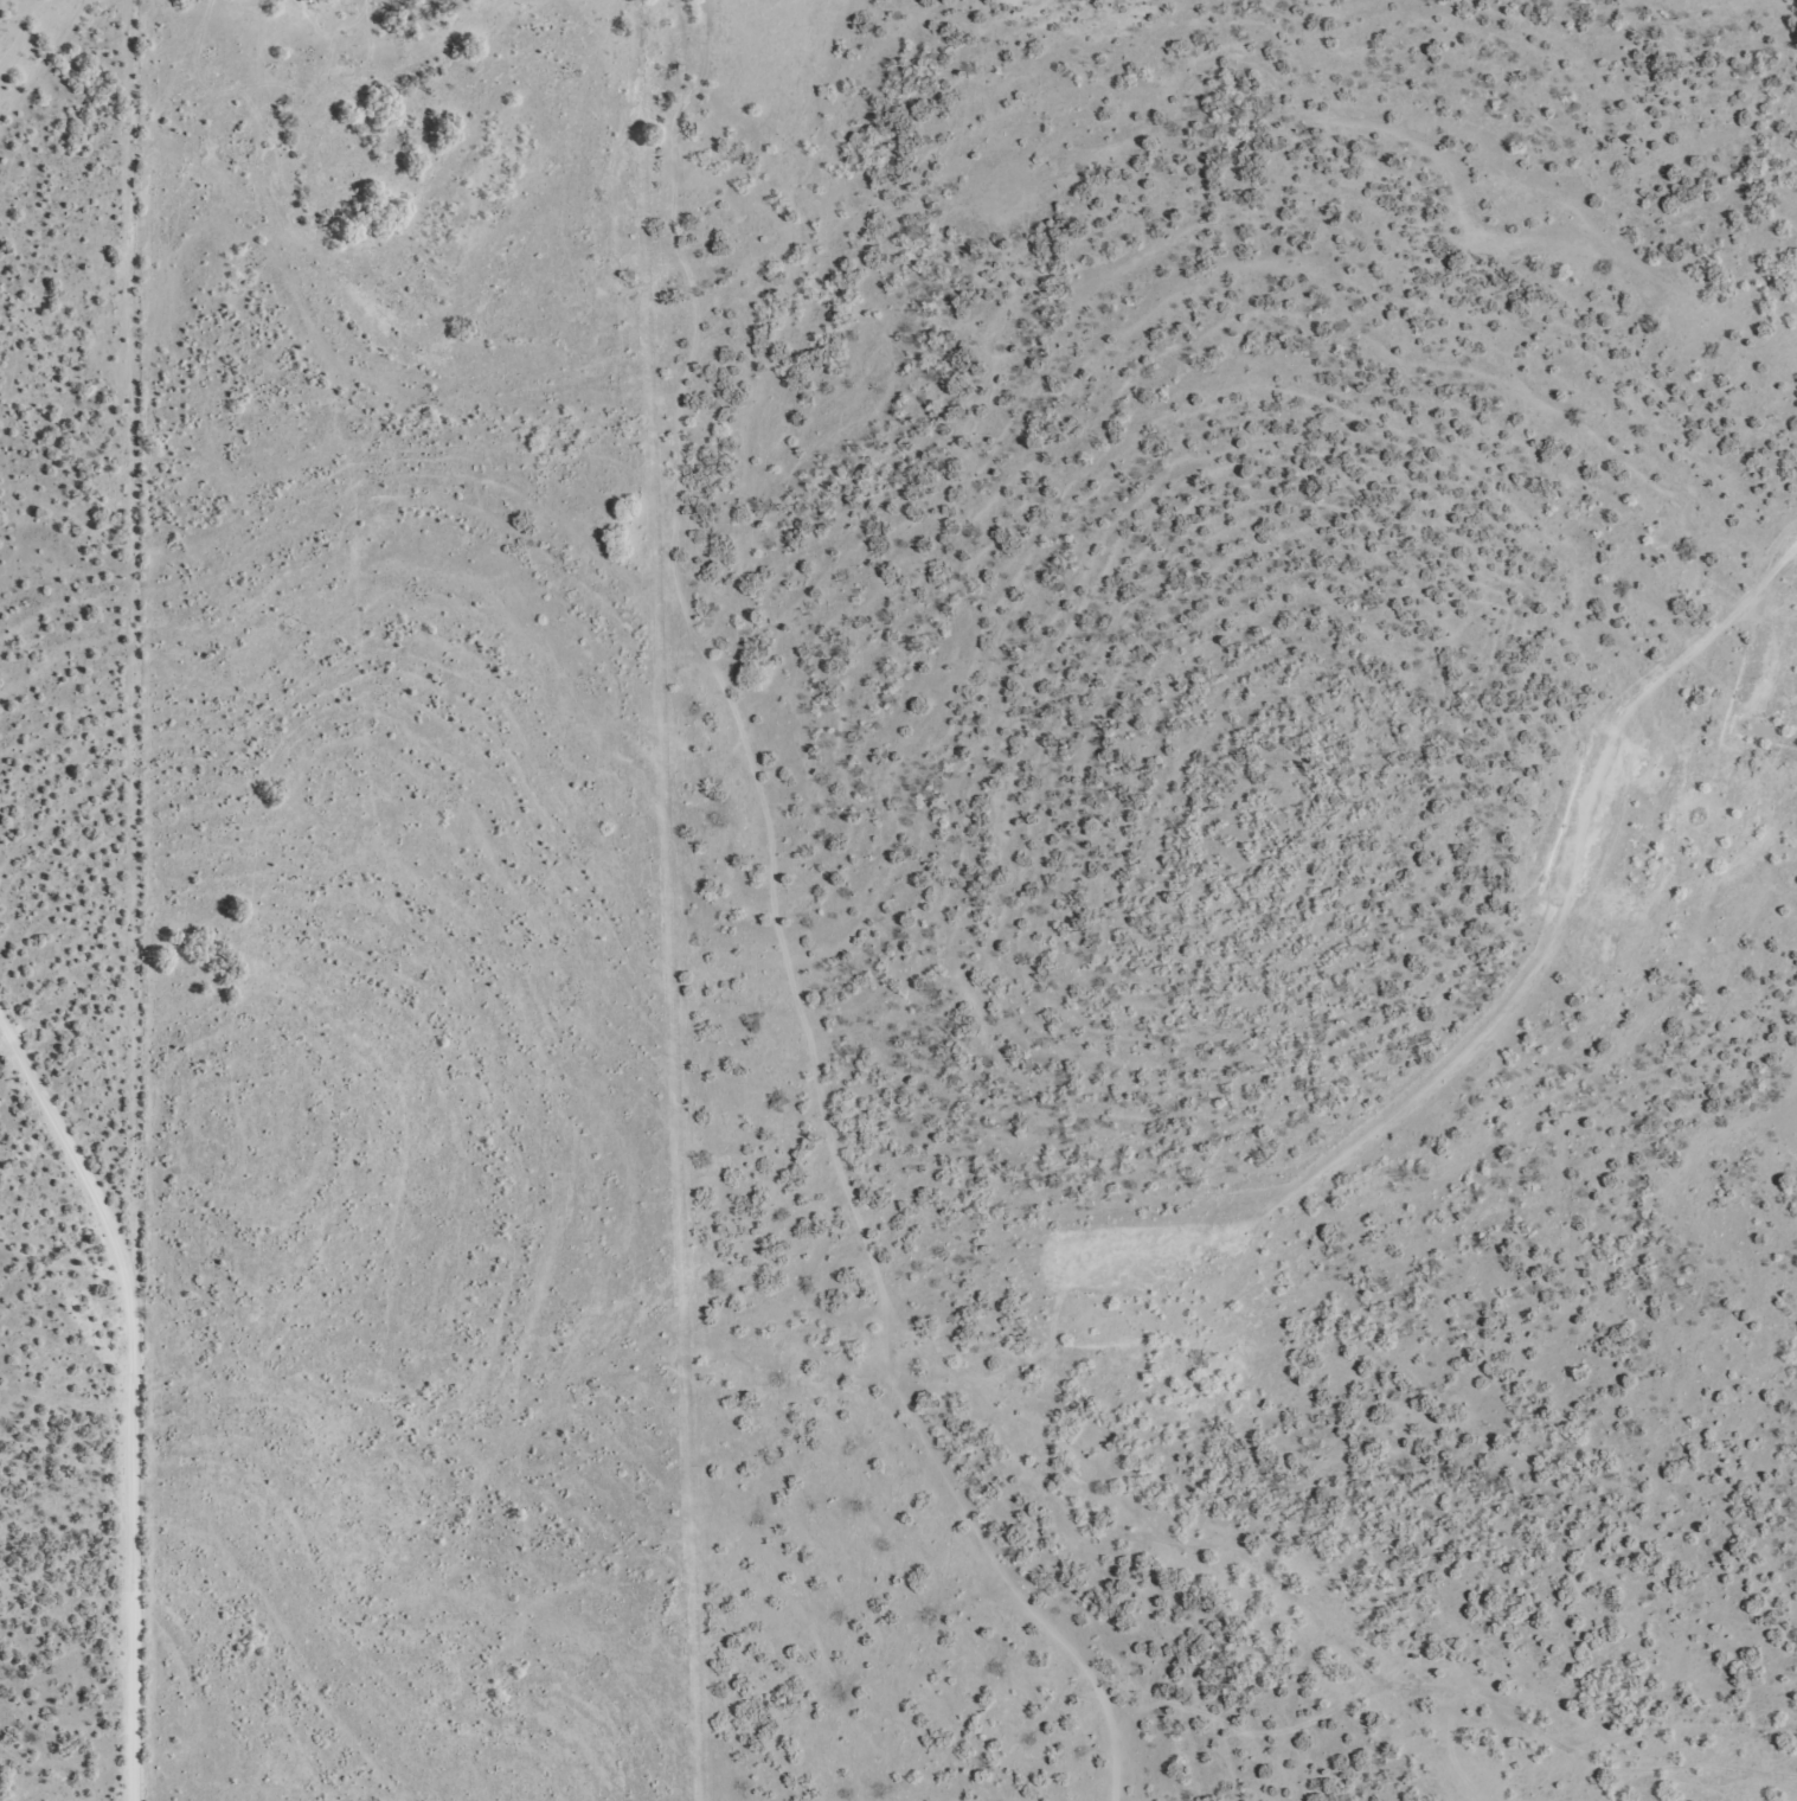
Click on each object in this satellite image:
road: (92, 1423)

